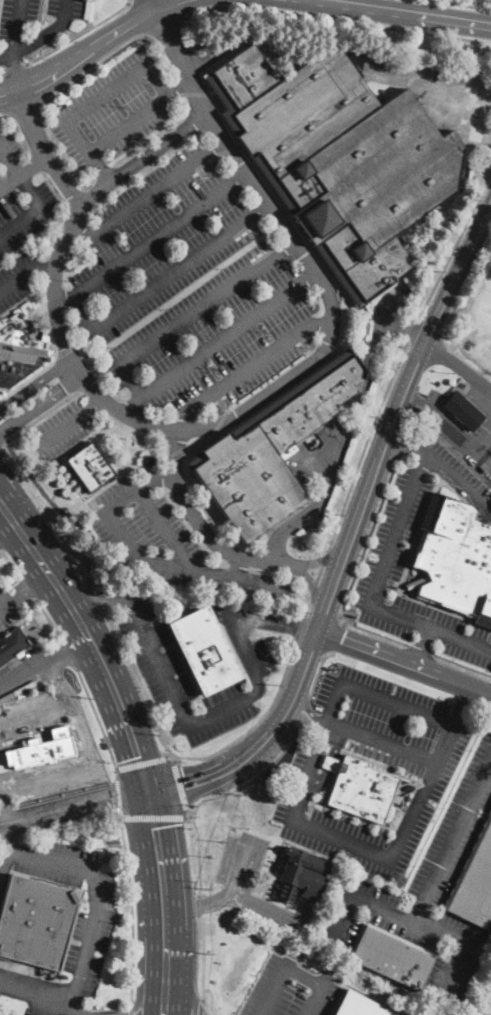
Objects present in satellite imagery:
road: (367, 2)
road: (154, 4)
road: (403, 4)
road: (462, 4)
road: (179, 9)
road: (416, 11)
road: (336, 18)
road: (137, 20)
parking lot: (34, 24)
road: (166, 26)
road: (17, 28)
road: (82, 34)
road: (42, 37)
road: (115, 49)
road: (87, 51)
road: (181, 62)
road: (18, 69)
road: (17, 72)
road: (3, 74)
road: (154, 81)
road: (177, 87)
road: (177, 88)
road: (437, 91)
road: (104, 94)
road: (196, 95)
road: (22, 108)
parking lot: (112, 110)
road: (125, 123)
road: (16, 132)
road: (155, 132)
road: (42, 150)
road: (86, 151)
building: (339, 159)
road: (36, 162)
road: (22, 172)
road: (19, 178)
road: (87, 180)
road: (146, 193)
road: (63, 210)
parking lot: (23, 221)
road: (20, 222)
road: (151, 239)
road: (455, 247)
road: (26, 276)
road: (163, 278)
parking lot: (187, 287)
road: (180, 294)
road: (191, 314)
road: (405, 326)
road: (414, 330)
road: (470, 332)
road: (464, 340)
road: (219, 342)
road: (64, 351)
building: (18, 352)
road: (53, 355)
road: (87, 360)
road: (250, 366)
road: (460, 367)
road: (88, 383)
road: (300, 383)
road: (35, 384)
road: (480, 390)
parking lot: (434, 395)
road: (412, 397)
road: (40, 404)
road: (489, 404)
road: (460, 405)
road: (94, 406)
building: (463, 411)
road: (466, 413)
road: (41, 414)
road: (472, 420)
road: (174, 428)
road: (61, 429)
parking lot: (58, 431)
road: (345, 431)
road: (142, 434)
road: (454, 434)
road: (2, 438)
road: (403, 438)
road: (80, 442)
road: (364, 445)
parking lot: (479, 445)
building: (272, 448)
road: (485, 450)
road: (175, 453)
building: (148, 461)
building: (90, 467)
parking lot: (456, 474)
road: (453, 477)
road: (56, 490)
road: (5, 502)
road: (61, 511)
road: (5, 512)
road: (5, 520)
road: (202, 528)
road: (398, 528)
road: (164, 529)
road: (355, 532)
road: (10, 537)
parking lot: (169, 541)
road: (327, 556)
building: (455, 557)
road: (324, 559)
road: (143, 561)
road: (10, 563)
road: (238, 566)
parking lot: (382, 569)
road: (356, 571)
road: (319, 574)
road: (33, 581)
building: (412, 584)
road: (28, 588)
road: (310, 588)
road: (315, 594)
road: (101, 595)
road: (9, 599)
road: (98, 599)
parking lot: (8, 604)
road: (306, 606)
road: (47, 620)
road: (274, 624)
road: (187, 625)
road: (300, 627)
road: (430, 628)
road: (335, 637)
building: (12, 644)
road: (92, 645)
road: (421, 646)
road: (420, 648)
building: (204, 650)
road: (25, 652)
road: (68, 654)
road: (44, 662)
road: (462, 662)
road: (406, 663)
road: (319, 671)
parking lot: (164, 673)
road: (60, 680)
road: (136, 685)
road: (464, 702)
road: (398, 703)
road: (35, 709)
road: (309, 709)
parking lot: (32, 712)
road: (304, 716)
road: (98, 722)
road: (198, 722)
road: (256, 723)
road: (300, 728)
road: (84, 733)
road: (381, 742)
building: (49, 748)
road: (317, 750)
road: (139, 761)
parking lot: (421, 762)
road: (330, 763)
road: (46, 764)
road: (45, 777)
parking lot: (52, 778)
road: (180, 785)
traffic signals: (149, 787)
building: (360, 787)
road: (118, 797)
road: (206, 799)
road: (74, 804)
road: (2, 810)
road: (152, 816)
road: (7, 833)
road: (70, 833)
road: (401, 836)
road: (9, 837)
road: (452, 840)
road: (107, 849)
road: (4, 861)
building: (301, 875)
road: (159, 883)
building: (475, 885)
parking lot: (235, 886)
parking lot: (427, 891)
road: (245, 896)
road: (95, 900)
road: (198, 903)
road: (198, 904)
road: (131, 910)
road: (341, 912)
building: (35, 921)
parking lot: (76, 921)
road: (415, 921)
road: (486, 940)
road: (202, 958)
building: (392, 958)
road: (460, 969)
road: (294, 970)
road: (5, 979)
parking lot: (290, 990)
road: (39, 993)
road: (182, 997)
road: (161, 998)
road: (209, 999)
road: (135, 1006)
building: (356, 1006)
road: (129, 1009)
road: (199, 1009)
road: (73, 1014)

